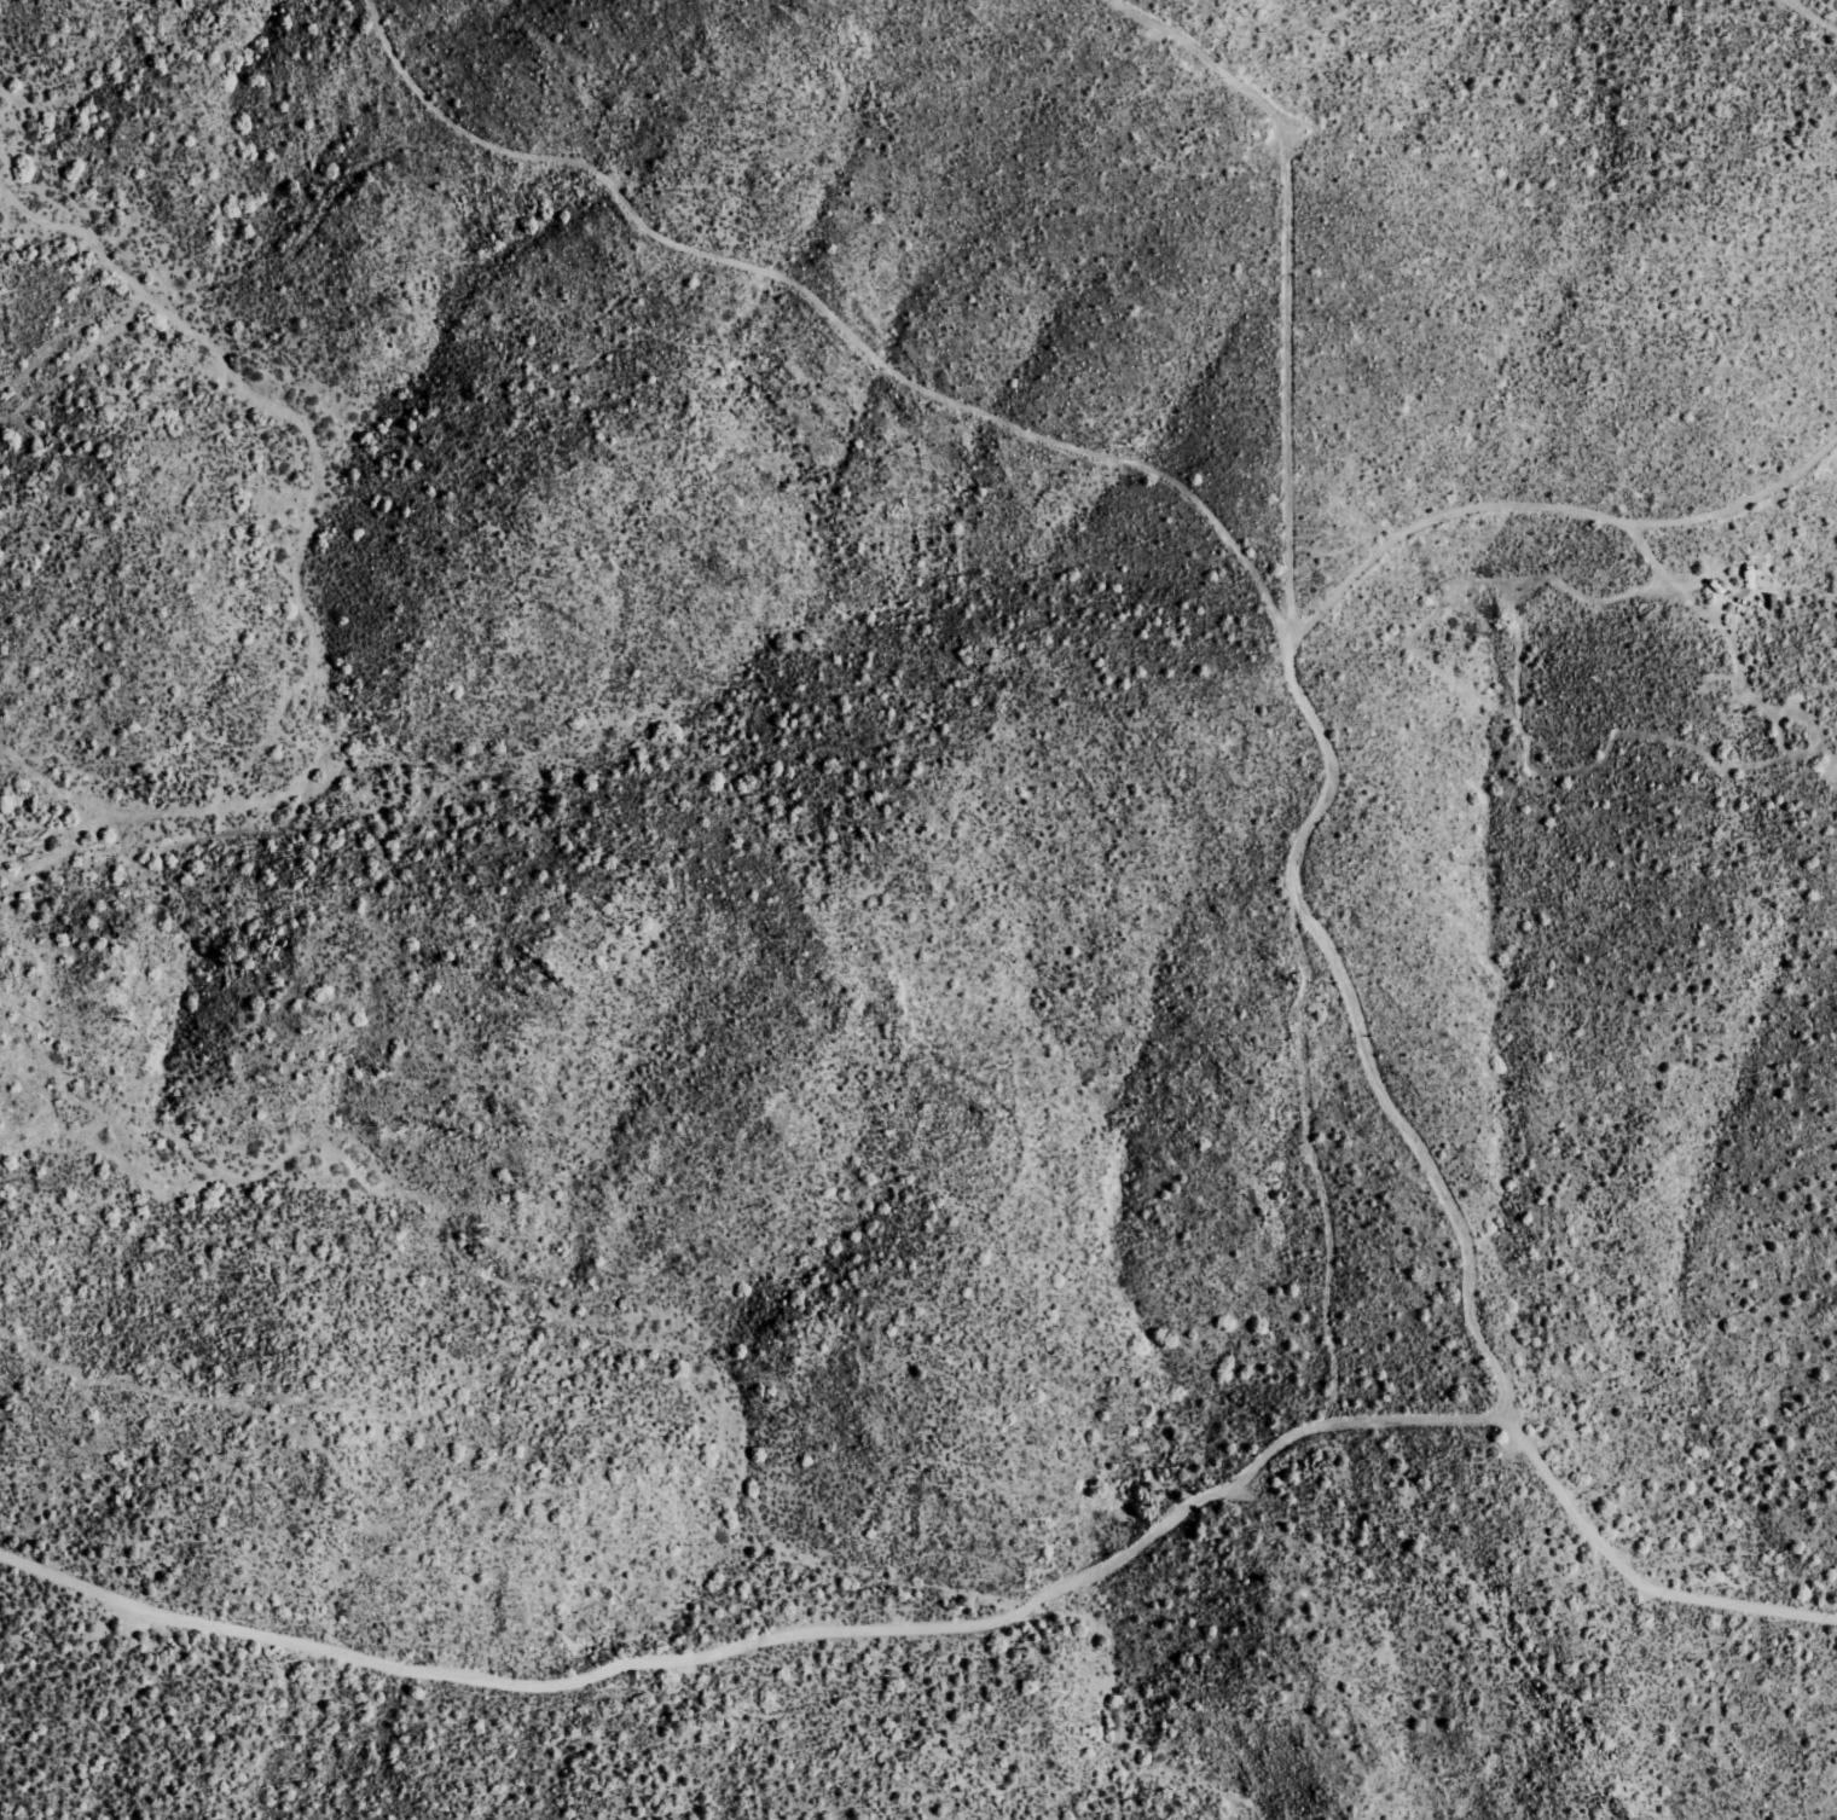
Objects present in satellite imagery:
road: (1340, 605)
road: (1426, 1422)
road: (696, 1662)

